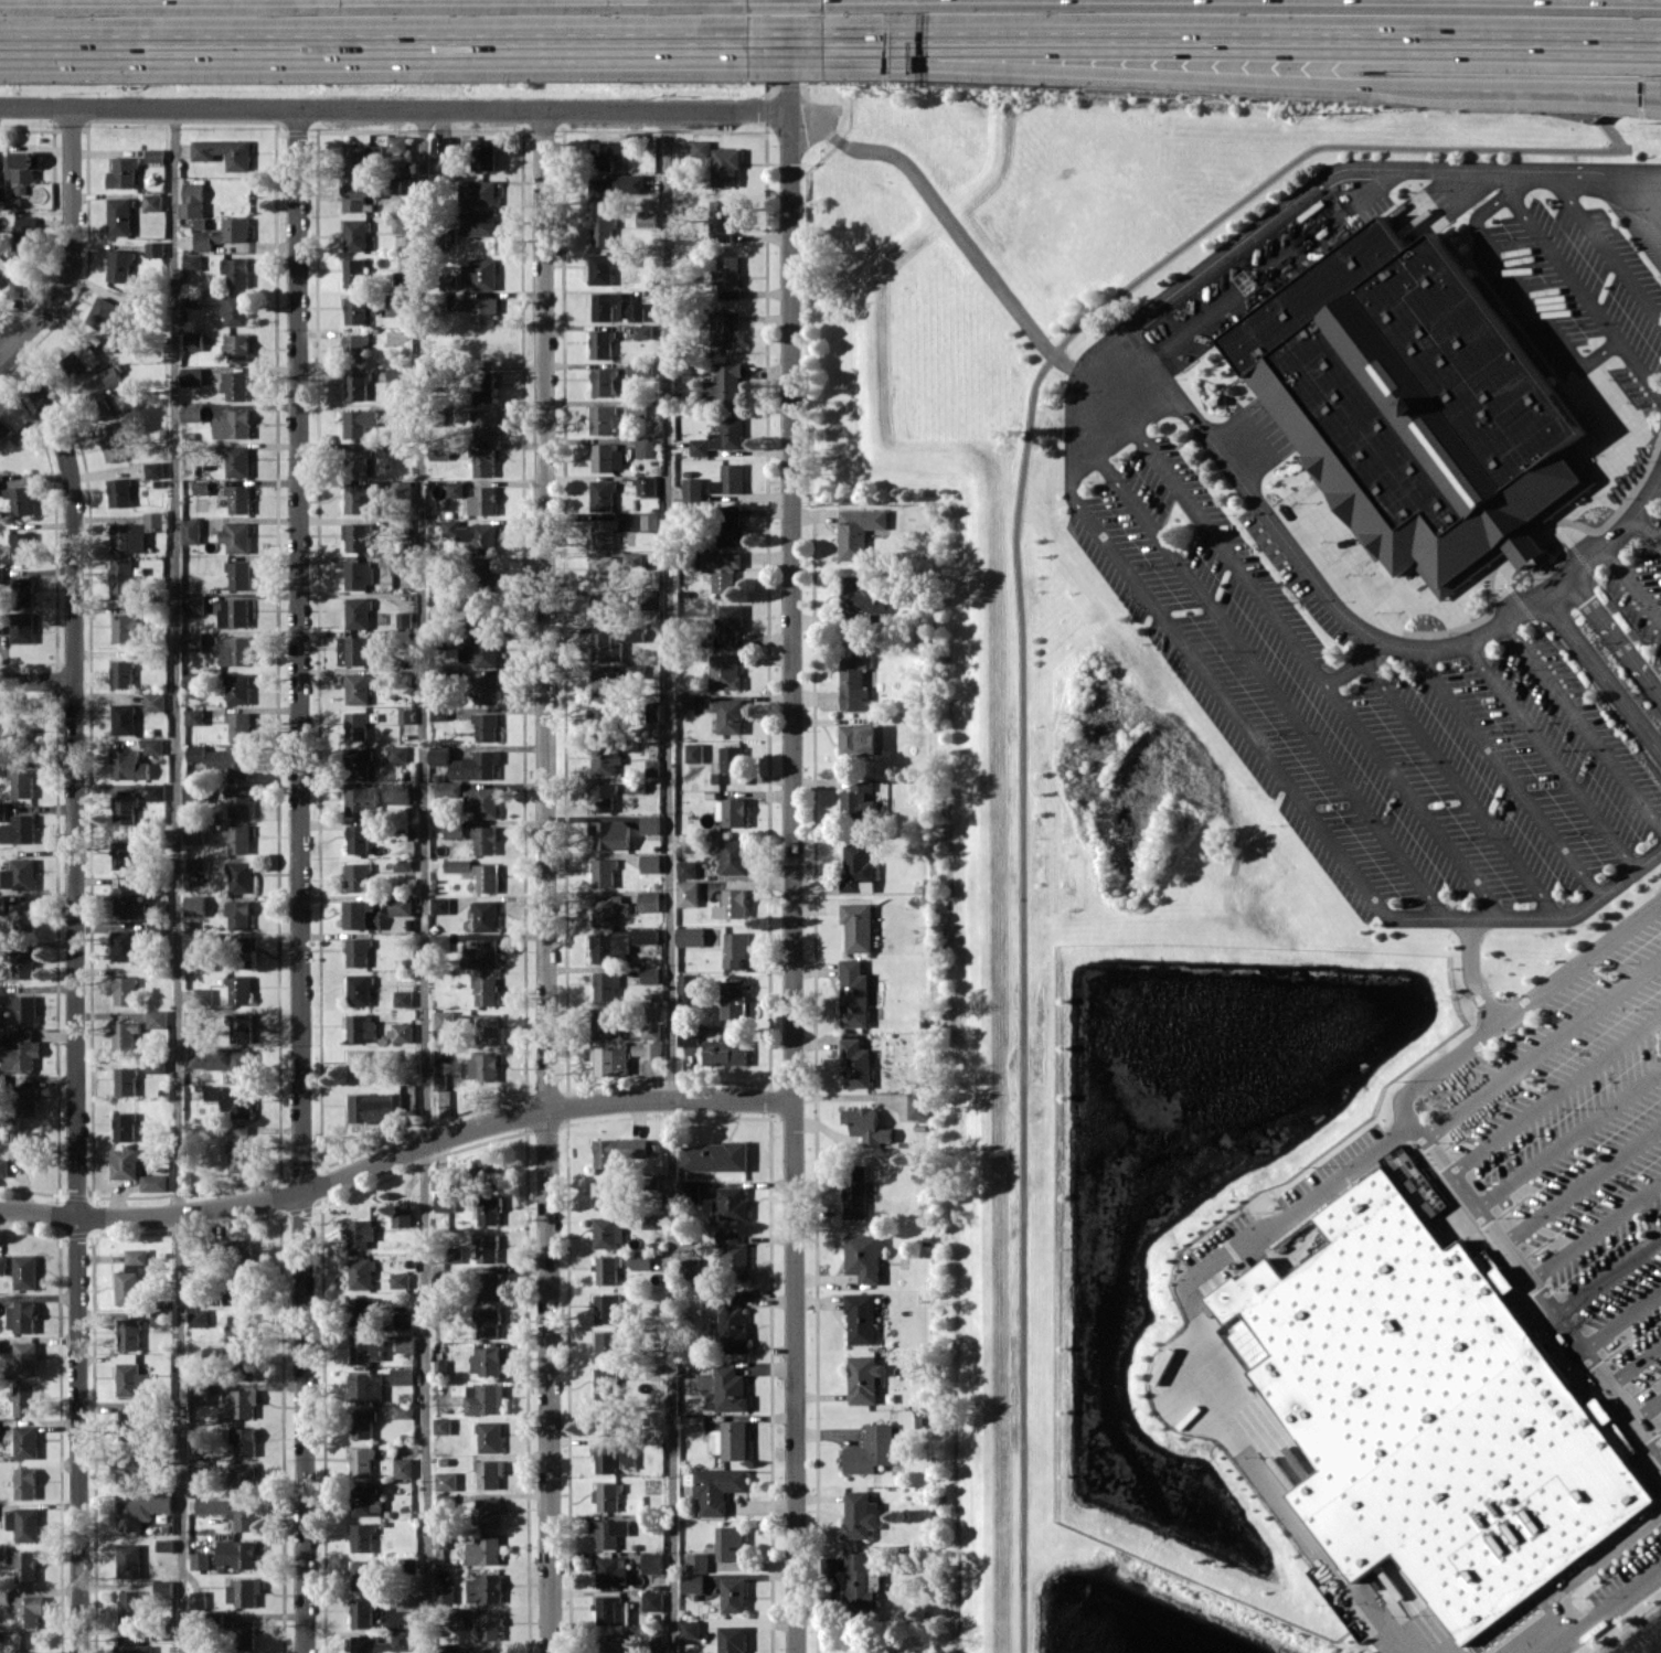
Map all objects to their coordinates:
road: (789, 41)
road: (839, 41)
road: (1255, 41)
road: (375, 43)
road: (1148, 72)
road: (1555, 85)
road: (1555, 92)
road: (394, 109)
building: (396, 142)
building: (440, 146)
building: (700, 148)
building: (223, 152)
building: (483, 153)
building: (605, 153)
building: (155, 154)
building: (360, 157)
building: (725, 166)
building: (22, 169)
building: (124, 173)
road: (1520, 182)
building: (392, 186)
building: (614, 188)
building: (2, 191)
building: (478, 192)
road: (1648, 194)
building: (355, 196)
building: (152, 202)
building: (194, 202)
road: (1289, 209)
building: (119, 216)
building: (647, 218)
building: (722, 218)
road: (1476, 220)
road: (948, 221)
building: (478, 222)
building: (403, 223)
building: (603, 230)
building: (23, 233)
building: (223, 233)
building: (356, 235)
road: (71, 245)
building: (155, 248)
road: (1605, 248)
building: (192, 264)
building: (119, 265)
building: (608, 265)
building: (236, 271)
building: (354, 271)
building: (480, 274)
building: (728, 276)
building: (403, 279)
building: (12, 287)
parking lot: (1576, 287)
building: (395, 305)
building: (235, 309)
building: (356, 309)
building: (481, 309)
building: (102, 312)
building: (631, 312)
building: (723, 326)
building: (643, 331)
building: (193, 341)
building: (601, 343)
building: (236, 346)
building: (355, 346)
road: (3, 350)
building: (82, 361)
road: (1641, 364)
building: (638, 370)
building: (395, 373)
building: (192, 375)
building: (604, 381)
building: (724, 384)
building: (235, 385)
building: (358, 385)
building: (100, 386)
building: (483, 386)
building: (1413, 405)
building: (637, 408)
building: (191, 413)
building: (601, 419)
building: (359, 422)
building: (233, 424)
building: (485, 424)
building: (3, 429)
building: (727, 434)
building: (113, 441)
building: (700, 447)
building: (647, 448)
building: (398, 451)
building: (607, 457)
building: (356, 460)
building: (237, 461)
building: (483, 461)
building: (155, 469)
building: (730, 479)
building: (201, 486)
building: (647, 486)
building: (693, 488)
building: (402, 489)
building: (456, 489)
building: (120, 491)
building: (603, 494)
building: (238, 498)
building: (20, 499)
building: (359, 499)
building: (483, 501)
building: (639, 521)
building: (730, 524)
building: (859, 530)
road: (1649, 530)
building: (191, 531)
building: (136, 532)
building: (605, 533)
building: (472, 534)
building: (235, 536)
building: (356, 536)
building: (22, 546)
building: (632, 558)
building: (402, 565)
building: (722, 569)
building: (604, 570)
building: (1, 574)
building: (239, 574)
building: (359, 574)
parking lot: (1642, 574)
building: (488, 576)
building: (121, 578)
road: (1632, 584)
building: (22, 590)
building: (858, 601)
building: (194, 604)
building: (606, 608)
building: (234, 612)
building: (358, 612)
building: (482, 614)
building: (405, 619)
building: (1, 622)
building: (730, 622)
road: (1356, 626)
building: (126, 628)
road: (1616, 636)
building: (192, 641)
road: (1293, 641)
building: (607, 647)
building: (361, 649)
building: (236, 651)
building: (481, 651)
road: (1023, 664)
road: (1356, 665)
building: (725, 671)
building: (637, 672)
road: (1259, 672)
building: (123, 673)
road: (1604, 673)
road: (36, 681)
building: (854, 682)
building: (605, 683)
building: (238, 687)
building: (359, 687)
building: (486, 689)
building: (439, 694)
building: (155, 702)
road: (1228, 703)
building: (686, 704)
parking lot: (1365, 706)
building: (439, 714)
building: (406, 715)
building: (728, 715)
building: (194, 716)
building: (124, 718)
building: (604, 721)
road: (1584, 722)
building: (241, 725)
building: (358, 725)
building: (487, 726)
building: (23, 729)
building: (859, 739)
building: (153, 745)
building: (196, 751)
building: (398, 754)
road: (1551, 755)
building: (440, 757)
building: (605, 758)
building: (231, 761)
building: (359, 762)
building: (129, 765)
building: (476, 765)
building: (730, 765)
building: (652, 767)
road: (1505, 770)
building: (22, 782)
road: (1462, 789)
building: (448, 790)
building: (156, 791)
building: (195, 792)
building: (604, 797)
building: (239, 800)
building: (361, 800)
building: (482, 801)
building: (859, 802)
building: (125, 809)
building: (2, 811)
building: (732, 812)
building: (651, 823)
road: (791, 825)
building: (455, 829)
building: (19, 830)
building: (195, 832)
building: (611, 834)
building: (238, 838)
building: (360, 838)
building: (486, 839)
building: (124, 854)
building: (733, 856)
building: (651, 863)
building: (195, 864)
building: (404, 864)
building: (458, 865)
building: (859, 867)
building: (688, 868)
building: (605, 872)
building: (22, 874)
building: (241, 876)
building: (358, 876)
building: (487, 877)
road: (177, 881)
road: (300, 881)
road: (423, 882)
road: (544, 882)
road: (670, 882)
building: (688, 894)
building: (128, 900)
building: (650, 900)
building: (3, 904)
building: (732, 904)
building: (195, 905)
building: (402, 905)
building: (441, 905)
building: (609, 908)
building: (364, 914)
building: (24, 915)
building: (239, 915)
building: (486, 915)
road: (1535, 917)
building: (858, 926)
building: (691, 936)
building: (441, 943)
building: (619, 943)
building: (124, 945)
building: (735, 948)
building: (359, 952)
building: (482, 953)
building: (24, 963)
road: (1468, 971)
building: (651, 974)
building: (688, 983)
building: (607, 984)
building: (241, 990)
building: (360, 990)
building: (485, 990)
building: (126, 991)
road: (76, 993)
building: (854, 993)
building: (204, 996)
building: (404, 998)
building: (734, 999)
building: (25, 1009)
building: (157, 1019)
building: (193, 1020)
building: (446, 1020)
building: (606, 1023)
building: (241, 1027)
building: (361, 1027)
building: (485, 1027)
building: (651, 1030)
building: (403, 1032)
building: (126, 1034)
building: (689, 1037)
road: (1542, 1044)
road: (1458, 1047)
building: (20, 1048)
building: (648, 1049)
building: (725, 1051)
building: (224, 1060)
building: (610, 1060)
building: (855, 1062)
building: (360, 1065)
building: (481, 1066)
building: (156, 1067)
building: (126, 1080)
building: (440, 1081)
road: (1554, 1088)
building: (26, 1099)
building: (232, 1100)
building: (918, 1106)
building: (373, 1107)
building: (866, 1124)
building: (125, 1126)
road: (1567, 1132)
building: (25, 1144)
building: (239, 1148)
building: (619, 1150)
road: (395, 1151)
building: (715, 1156)
building: (125, 1163)
building: (486, 1166)
building: (3, 1167)
building: (441, 1179)
building: (155, 1182)
road: (1583, 1182)
building: (690, 1188)
building: (855, 1191)
building: (606, 1194)
building: (445, 1202)
building: (734, 1203)
building: (489, 1209)
road: (1288, 1213)
building: (403, 1217)
road: (1595, 1222)
building: (607, 1231)
building: (360, 1233)
building: (213, 1247)
building: (487, 1247)
building: (239, 1250)
building: (734, 1255)
building: (865, 1256)
building: (640, 1260)
building: (3, 1265)
road: (1608, 1267)
building: (692, 1268)
building: (608, 1269)
building: (25, 1271)
building: (361, 1273)
building: (132, 1277)
building: (454, 1277)
building: (401, 1280)
building: (489, 1286)
building: (198, 1295)
building: (610, 1308)
building: (362, 1310)
road: (1622, 1315)
building: (22, 1316)
building: (159, 1316)
building: (198, 1318)
building: (861, 1318)
building: (405, 1319)
building: (733, 1322)
building: (488, 1323)
building: (129, 1333)
road: (1583, 1342)
building: (406, 1343)
building: (613, 1344)
building: (368, 1348)
building: (26, 1358)
road: (1635, 1358)
building: (486, 1361)
building: (127, 1373)
building: (403, 1376)
building: (864, 1378)
road: (1217, 1379)
building: (607, 1383)
building: (366, 1386)
building: (726, 1387)
building: (485, 1398)
building: (24, 1399)
building: (243, 1403)
road: (1649, 1404)
building: (1431, 1410)
building: (404, 1411)
building: (606, 1420)
building: (695, 1422)
building: (130, 1423)
building: (362, 1423)
building: (443, 1425)
building: (490, 1437)
building: (242, 1440)
building: (735, 1440)
building: (26, 1441)
building: (199, 1446)
building: (871, 1450)
building: (615, 1458)
building: (361, 1461)
building: (200, 1468)
building: (403, 1468)
building: (127, 1469)
building: (488, 1473)
building: (242, 1478)
building: (447, 1481)
building: (25, 1483)
building: (718, 1487)
building: (607, 1495)
building: (365, 1499)
building: (142, 1508)
building: (489, 1511)
building: (232, 1512)
building: (861, 1515)
building: (24, 1523)
building: (609, 1532)
building: (362, 1537)
building: (732, 1543)
building: (483, 1550)
building: (3, 1554)
building: (235, 1554)
road: (1322, 1557)
building: (128, 1560)
building: (200, 1560)
building: (698, 1561)
building: (652, 1563)
building: (25, 1566)
road: (1590, 1568)
building: (613, 1571)
building: (363, 1575)
building: (861, 1581)
building: (692, 1583)
building: (485, 1588)
building: (243, 1591)
building: (445, 1593)
building: (734, 1595)
building: (4, 1597)
building: (198, 1599)
building: (653, 1600)
building: (406, 1602)
building: (130, 1606)
building: (29, 1610)
building: (613, 1610)
road: (1604, 1610)
building: (362, 1612)
building: (456, 1618)
building: (488, 1624)
building: (691, 1629)
building: (242, 1633)
building: (733, 1639)
building: (380, 1642)
building: (615, 1643)
building: (132, 1645)
building: (488, 1651)
building: (24, 1652)

